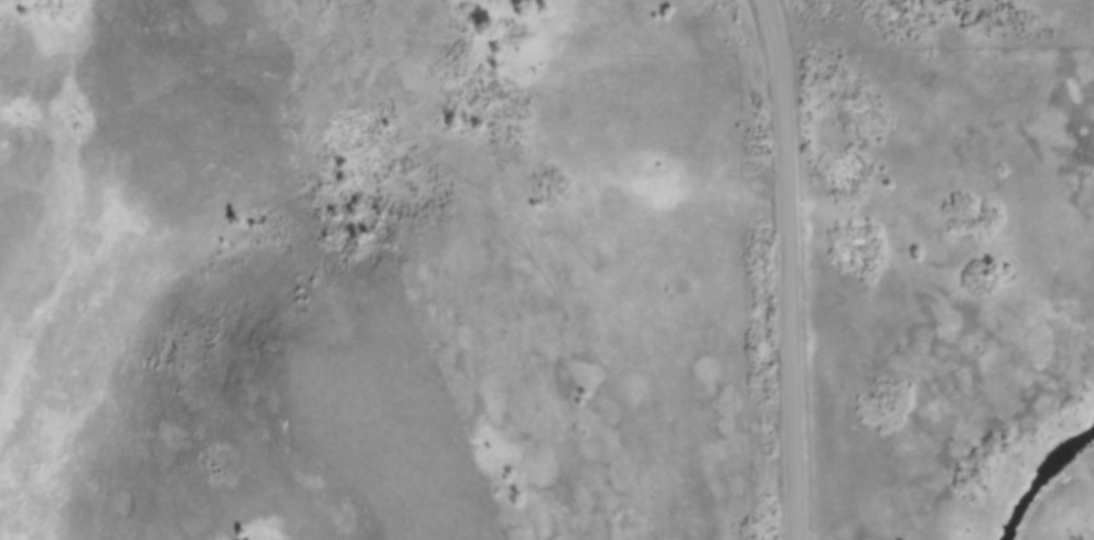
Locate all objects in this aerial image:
road: (789, 269)

